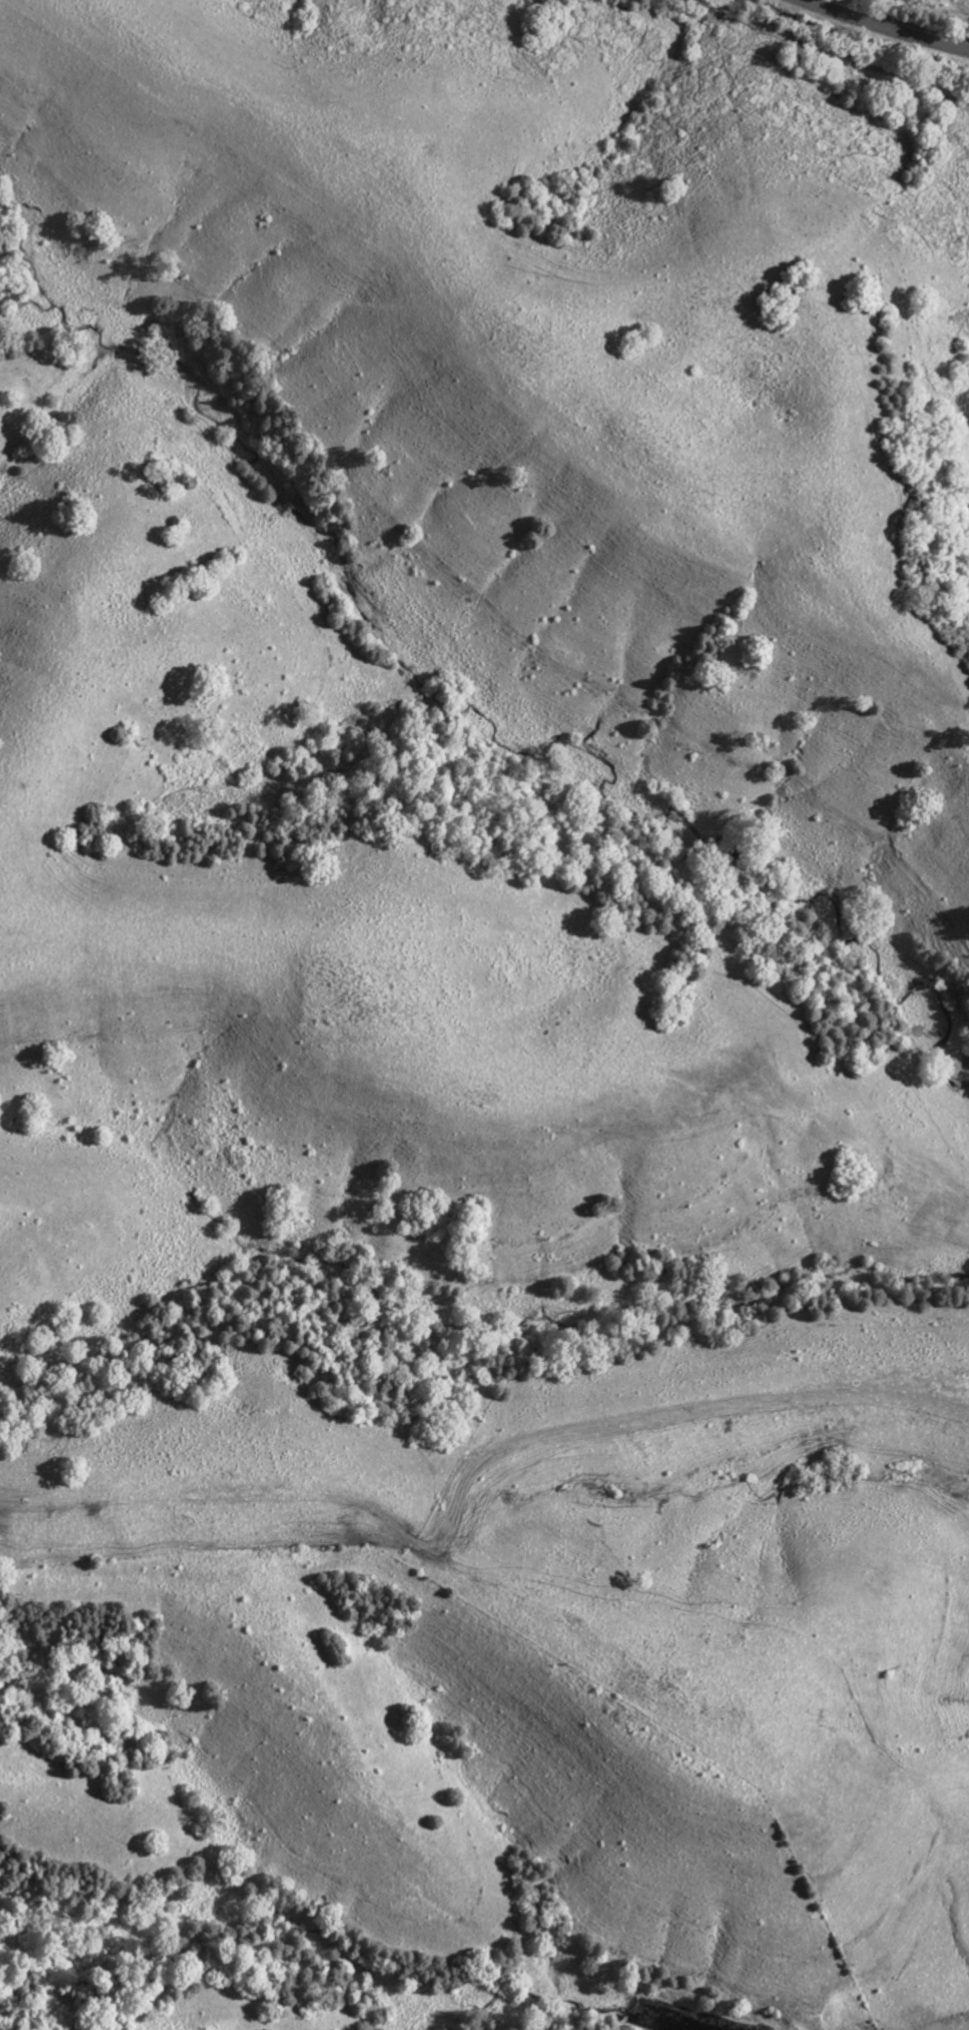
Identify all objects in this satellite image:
road: (880, 29)

